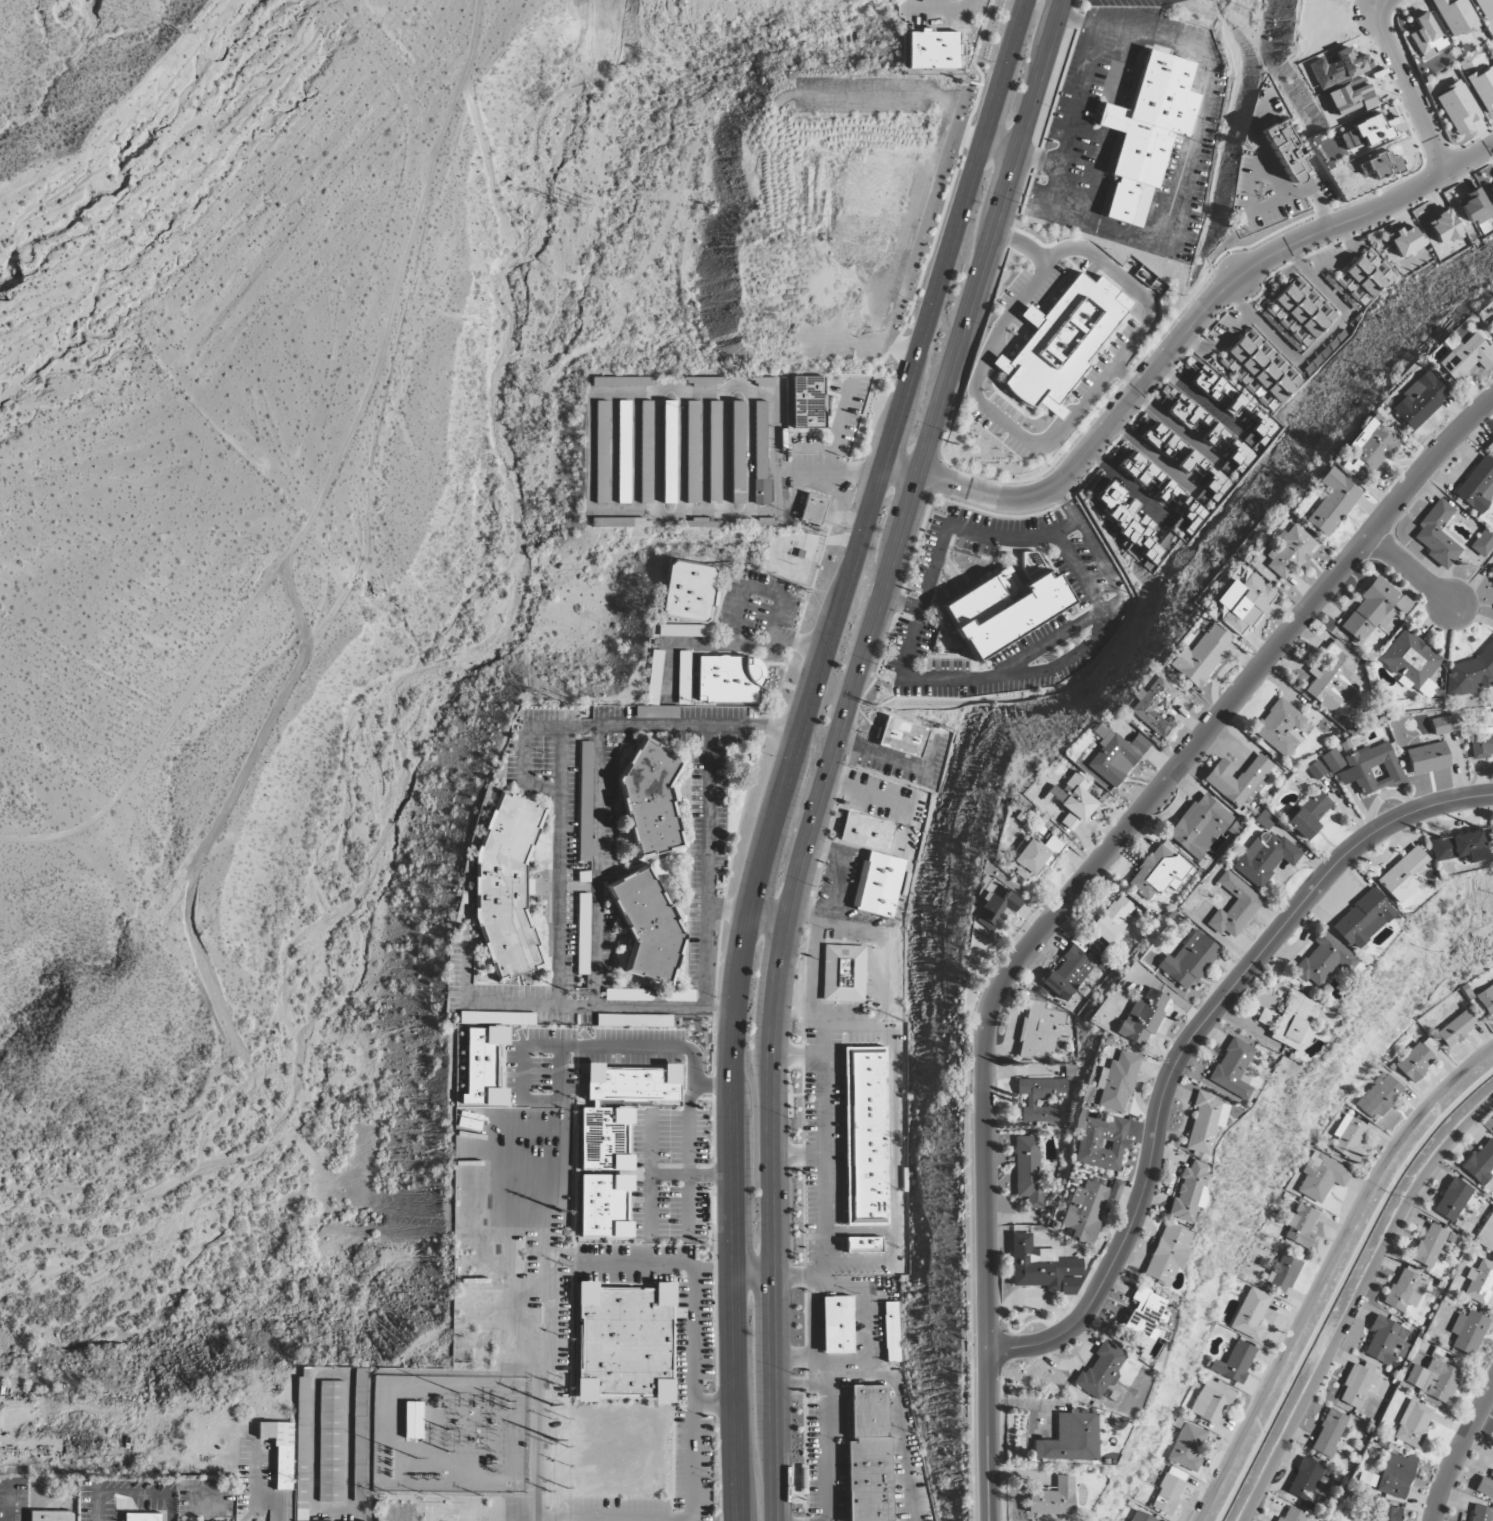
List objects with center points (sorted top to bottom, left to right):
road: (937, 9)
building: (1484, 9)
building: (1455, 17)
building: (1426, 37)
building: (932, 49)
road: (1409, 86)
building: (1483, 88)
building: (1457, 107)
road: (1070, 124)
building: (1364, 132)
building: (1146, 133)
road: (1002, 145)
road: (1192, 146)
road: (1259, 148)
building: (1285, 150)
building: (1381, 165)
building: (1491, 190)
power tower: (570, 201)
building: (1474, 207)
road: (1319, 209)
road: (1249, 214)
building: (1443, 227)
building: (1405, 241)
building: (1366, 277)
road: (1343, 306)
road: (763, 311)
building: (1299, 315)
building: (1491, 323)
road: (1259, 324)
building: (1061, 340)
road: (1179, 340)
road: (896, 349)
building: (1465, 357)
building: (1258, 374)
building: (621, 381)
building: (1418, 401)
building: (808, 402)
power tower: (567, 403)
building: (1235, 404)
building: (1189, 413)
road: (838, 427)
road: (1177, 428)
building: (1490, 447)
building: (1369, 450)
building: (601, 452)
building: (623, 452)
building: (646, 452)
building: (668, 452)
building: (691, 452)
building: (714, 452)
building: (737, 452)
building: (760, 453)
building: (1140, 470)
road: (838, 473)
road: (1385, 473)
building: (1206, 475)
building: (1477, 485)
road: (914, 487)
building: (1332, 502)
building: (1183, 506)
road: (1066, 508)
building: (812, 509)
building: (1129, 522)
building: (620, 523)
road: (1069, 528)
building: (1437, 535)
building: (1482, 543)
building: (1289, 552)
road: (1110, 570)
building: (1491, 570)
road: (1411, 571)
building: (687, 591)
building: (1244, 603)
road: (901, 606)
building: (1004, 609)
building: (1374, 609)
road: (1262, 619)
building: (683, 631)
road: (797, 643)
road: (764, 646)
building: (1200, 657)
building: (1411, 662)
road: (1220, 672)
building: (1471, 673)
building: (654, 677)
building: (1334, 678)
building: (729, 679)
road: (933, 685)
power tower: (565, 703)
building: (1153, 706)
building: (1444, 725)
building: (1279, 727)
road: (665, 728)
building: (902, 736)
building: (1482, 743)
road: (797, 747)
road: (882, 757)
building: (1115, 757)
building: (1427, 758)
building: (1331, 761)
building: (1373, 768)
building: (1315, 770)
building: (1238, 780)
building: (651, 799)
road: (893, 800)
building: (585, 801)
building: (1071, 801)
building: (1308, 815)
building: (1199, 826)
building: (865, 831)
building: (1458, 847)
building: (1033, 857)
building: (1265, 857)
road: (560, 866)
road: (596, 866)
road: (707, 868)
road: (840, 869)
building: (1159, 872)
building: (1402, 875)
building: (877, 884)
building: (507, 886)
road: (1070, 896)
building: (1234, 907)
building: (994, 908)
building: (1113, 919)
building: (1362, 919)
road: (799, 920)
building: (648, 926)
building: (1322, 960)
building: (1189, 961)
building: (843, 973)
building: (1069, 973)
road: (889, 981)
power tower: (565, 991)
building: (1486, 999)
road: (570, 1005)
building: (497, 1018)
building: (1142, 1018)
building: (1291, 1021)
road: (856, 1026)
building: (1456, 1029)
road: (1187, 1040)
building: (644, 1047)
road: (797, 1055)
building: (1415, 1062)
building: (483, 1067)
building: (1232, 1068)
building: (1116, 1083)
building: (632, 1084)
road: (822, 1096)
building: (1379, 1097)
building: (1031, 1102)
building: (1204, 1122)
road: (689, 1130)
building: (865, 1135)
building: (605, 1138)
building: (1349, 1138)
road: (892, 1143)
building: (1101, 1143)
road: (797, 1155)
building: (1481, 1164)
building: (1028, 1170)
building: (1321, 1177)
building: (1188, 1192)
building: (1452, 1200)
building: (605, 1206)
building: (1084, 1211)
building: (1300, 1227)
road: (858, 1231)
building: (863, 1244)
building: (1428, 1246)
road: (772, 1249)
building: (1166, 1255)
road: (859, 1263)
power tower: (556, 1264)
building: (1041, 1267)
road: (1325, 1270)
building: (1284, 1273)
road: (778, 1275)
building: (1479, 1282)
building: (1405, 1289)
road: (694, 1301)
road: (1355, 1303)
building: (1142, 1313)
building: (1250, 1313)
building: (836, 1324)
road: (863, 1327)
road: (813, 1328)
building: (892, 1331)
building: (1467, 1332)
building: (1385, 1341)
building: (624, 1343)
road: (794, 1357)
building: (1234, 1363)
building: (1100, 1371)
road: (315, 1375)
power tower: (555, 1377)
building: (1433, 1380)
building: (1357, 1384)
road: (897, 1389)
building: (1212, 1401)
building: (1413, 1424)
building: (1328, 1433)
building: (359, 1434)
building: (1070, 1438)
building: (330, 1440)
building: (301, 1445)
building: (1188, 1448)
building: (279, 1450)
road: (828, 1452)
building: (868, 1454)
road: (1461, 1454)
building: (1396, 1476)
building: (1367, 1479)
building: (1308, 1483)
building: (1485, 1486)
building: (1169, 1491)
building: (1052, 1499)
road: (8, 1503)
road: (361, 1511)
building: (1385, 1513)
building: (1480, 1513)
building: (1293, 1515)
building: (51, 1516)
building: (143, 1516)
building: (1143, 1517)
road: (672, 1520)

